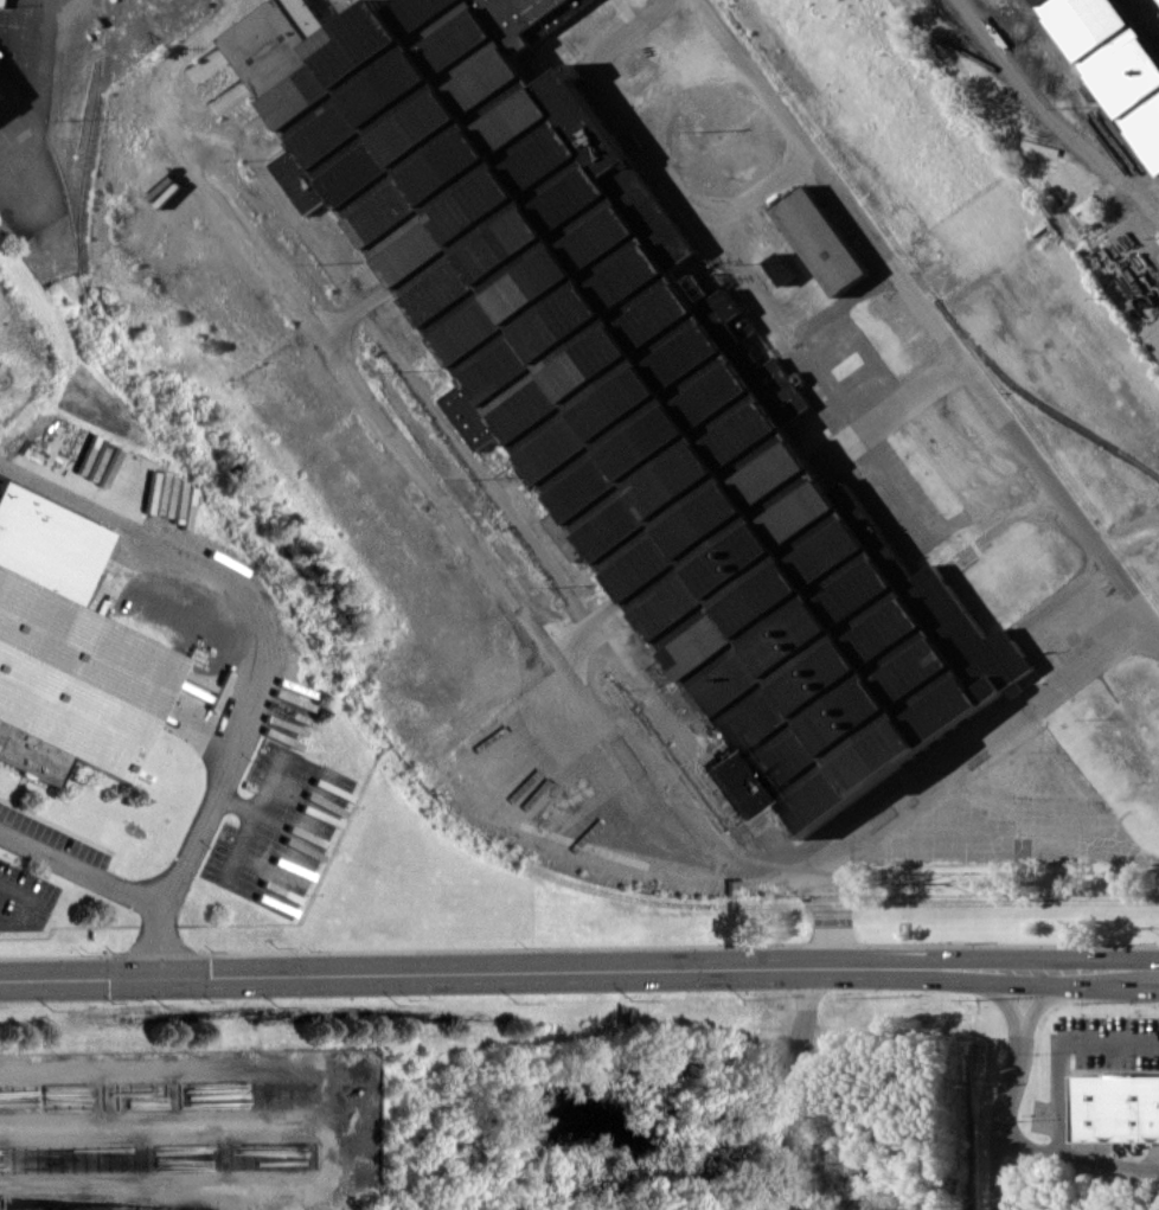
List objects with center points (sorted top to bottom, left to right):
railway: (1134, 33)
railway: (1099, 53)
building: (1116, 57)
building: (4, 103)
road: (1048, 117)
road: (647, 151)
building: (820, 239)
building: (780, 268)
road: (745, 276)
road: (354, 310)
road: (926, 318)
road: (322, 337)
road: (828, 385)
building: (628, 392)
road: (867, 435)
road: (261, 625)
building: (65, 651)
road: (995, 850)
road: (796, 864)
road: (82, 870)
road: (38, 903)
road: (828, 908)
road: (164, 943)
road: (569, 969)
road: (1150, 971)
traffic signals: (164, 977)
road: (1043, 999)
road: (1001, 1000)
road: (1062, 1048)
road: (788, 1088)
building: (1116, 1107)
road: (1001, 1122)
road: (1080, 1153)

